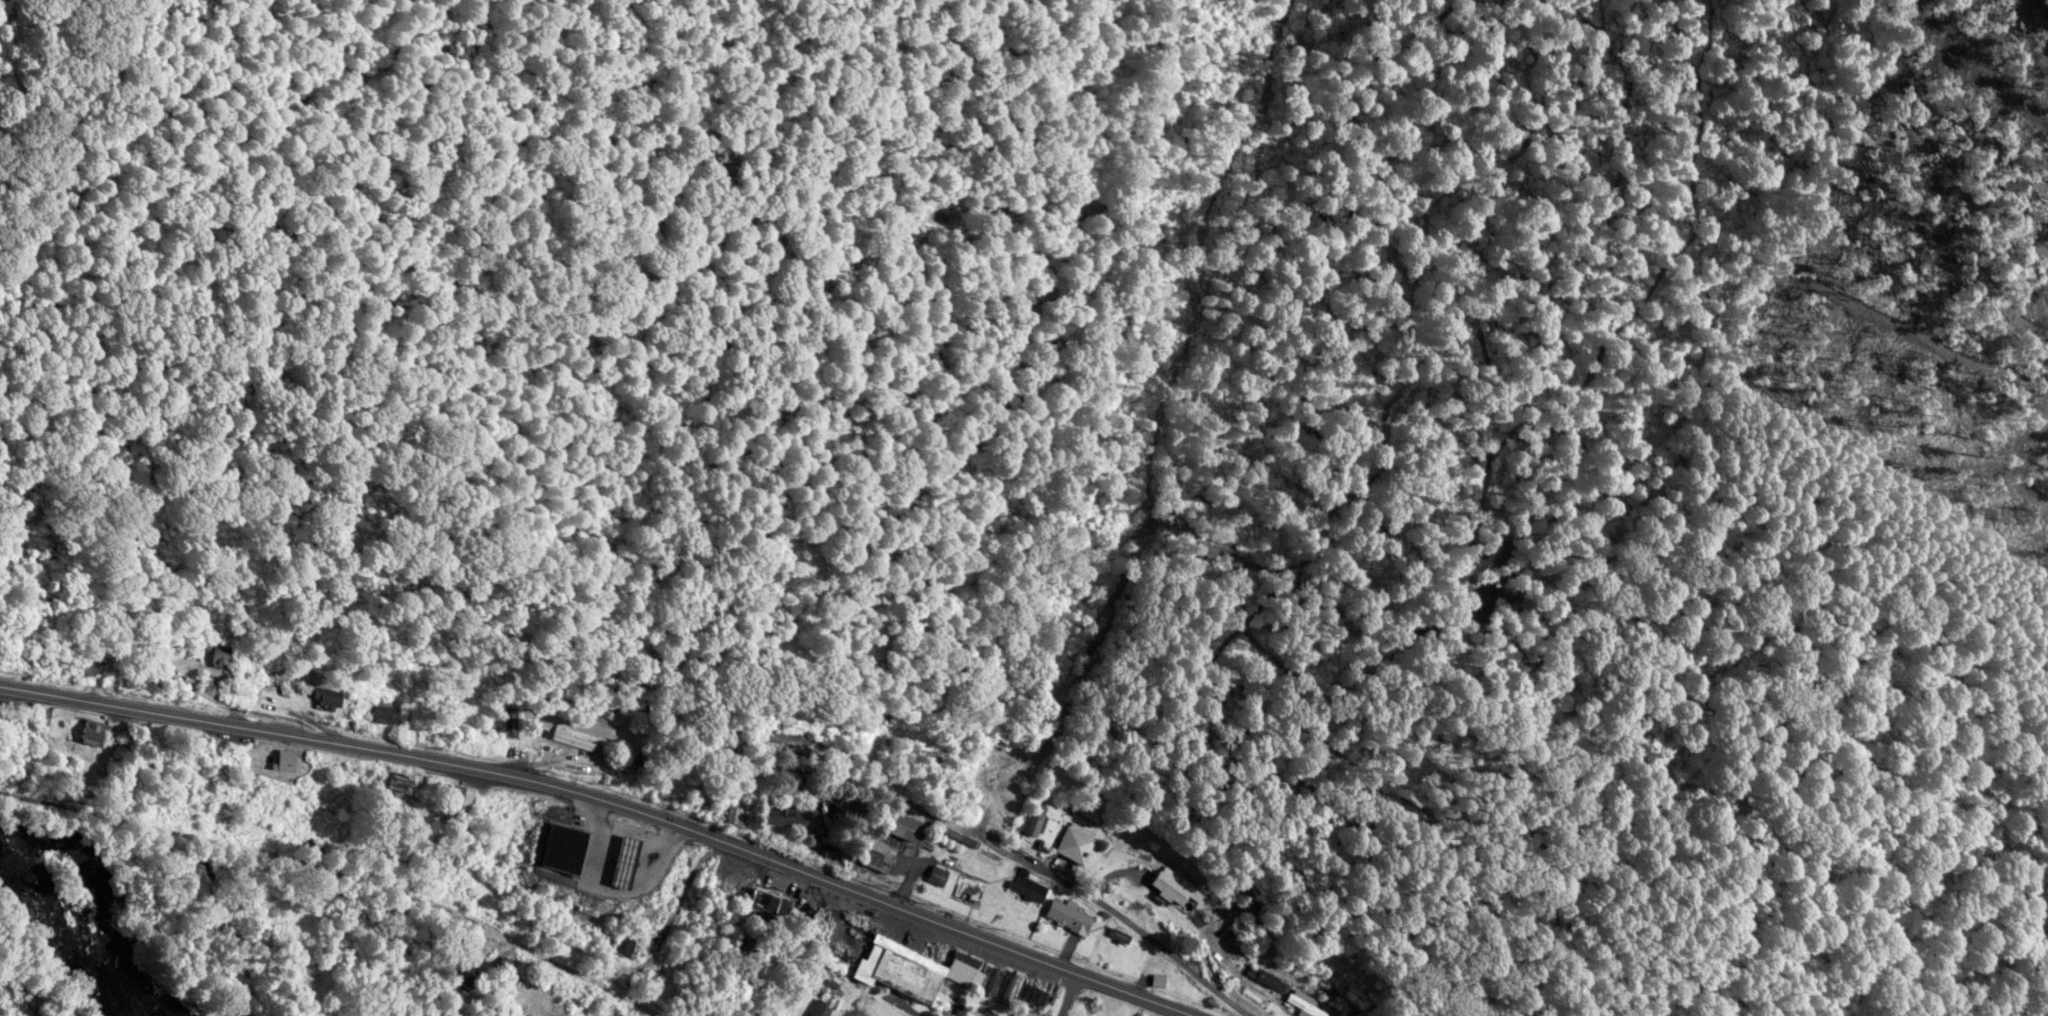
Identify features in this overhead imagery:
building: (213, 653)
building: (324, 696)
building: (382, 709)
building: (34, 714)
building: (84, 730)
building: (573, 740)
building: (278, 759)
road: (617, 796)
building: (455, 799)
road: (973, 826)
building: (1074, 841)
building: (553, 843)
building: (877, 849)
road: (343, 871)
building: (1026, 884)
building: (1173, 884)
building: (755, 904)
building: (1066, 914)
building: (622, 942)
building: (924, 970)
building: (1263, 976)
river: (38, 979)
road: (1070, 993)
road: (849, 996)
building: (1301, 1002)
building: (819, 1008)

